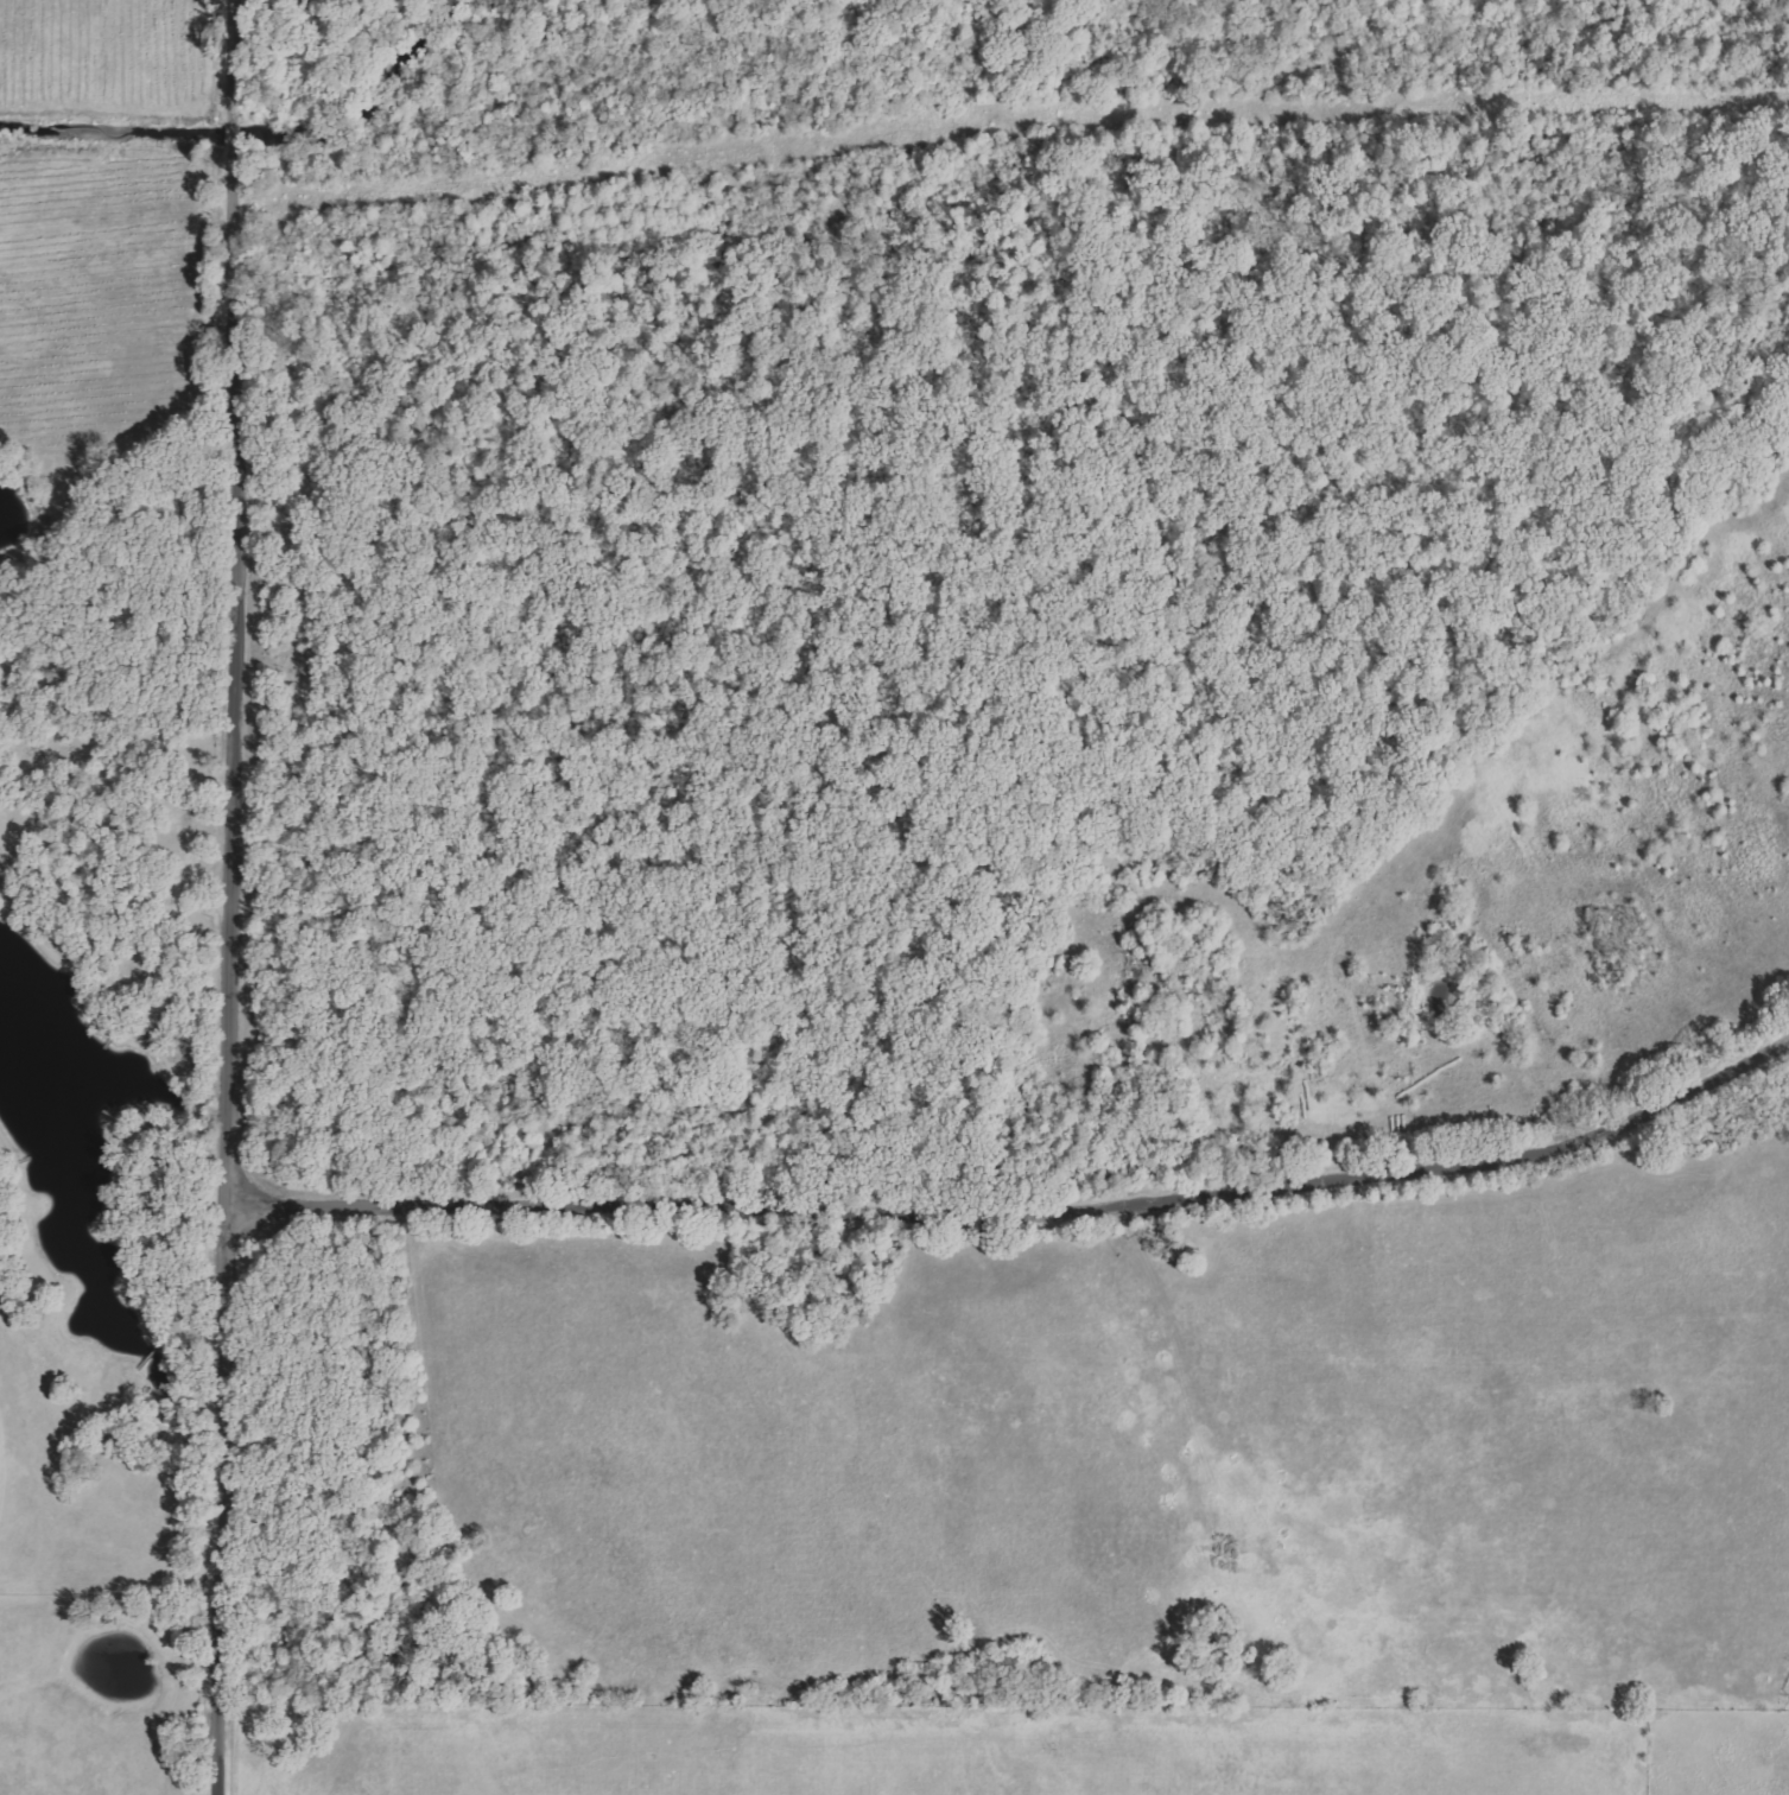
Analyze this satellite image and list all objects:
road: (229, 74)
road: (229, 971)
road: (1022, 1192)

